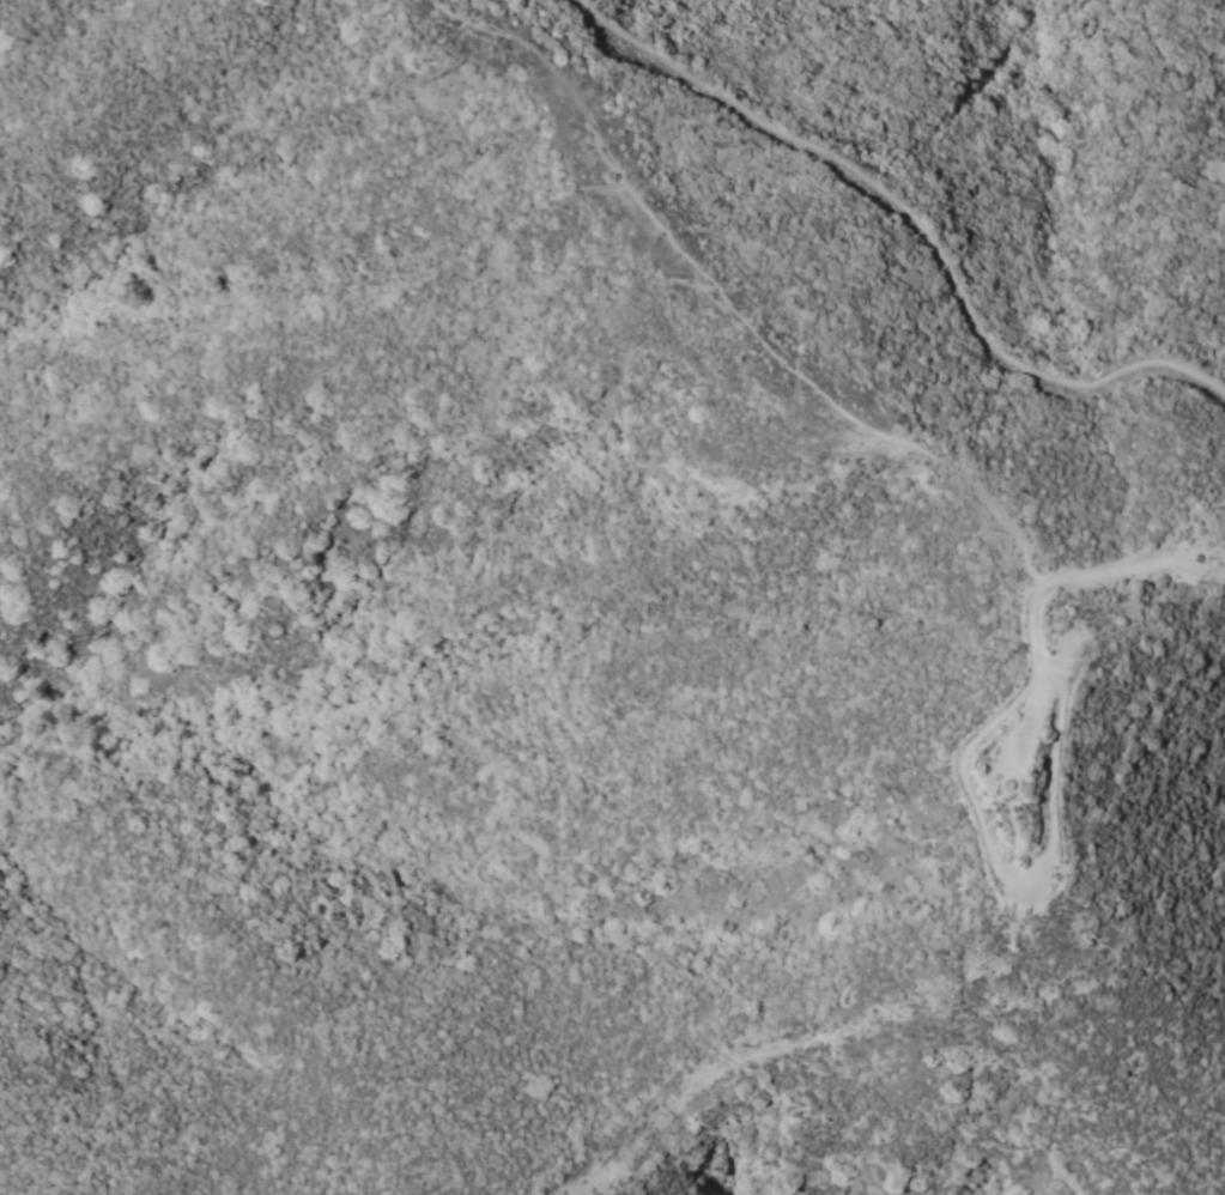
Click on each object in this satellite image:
road: (915, 212)
road: (730, 304)
road: (1097, 572)
building: (1013, 784)
storage tank: (1013, 784)
road: (1023, 886)

